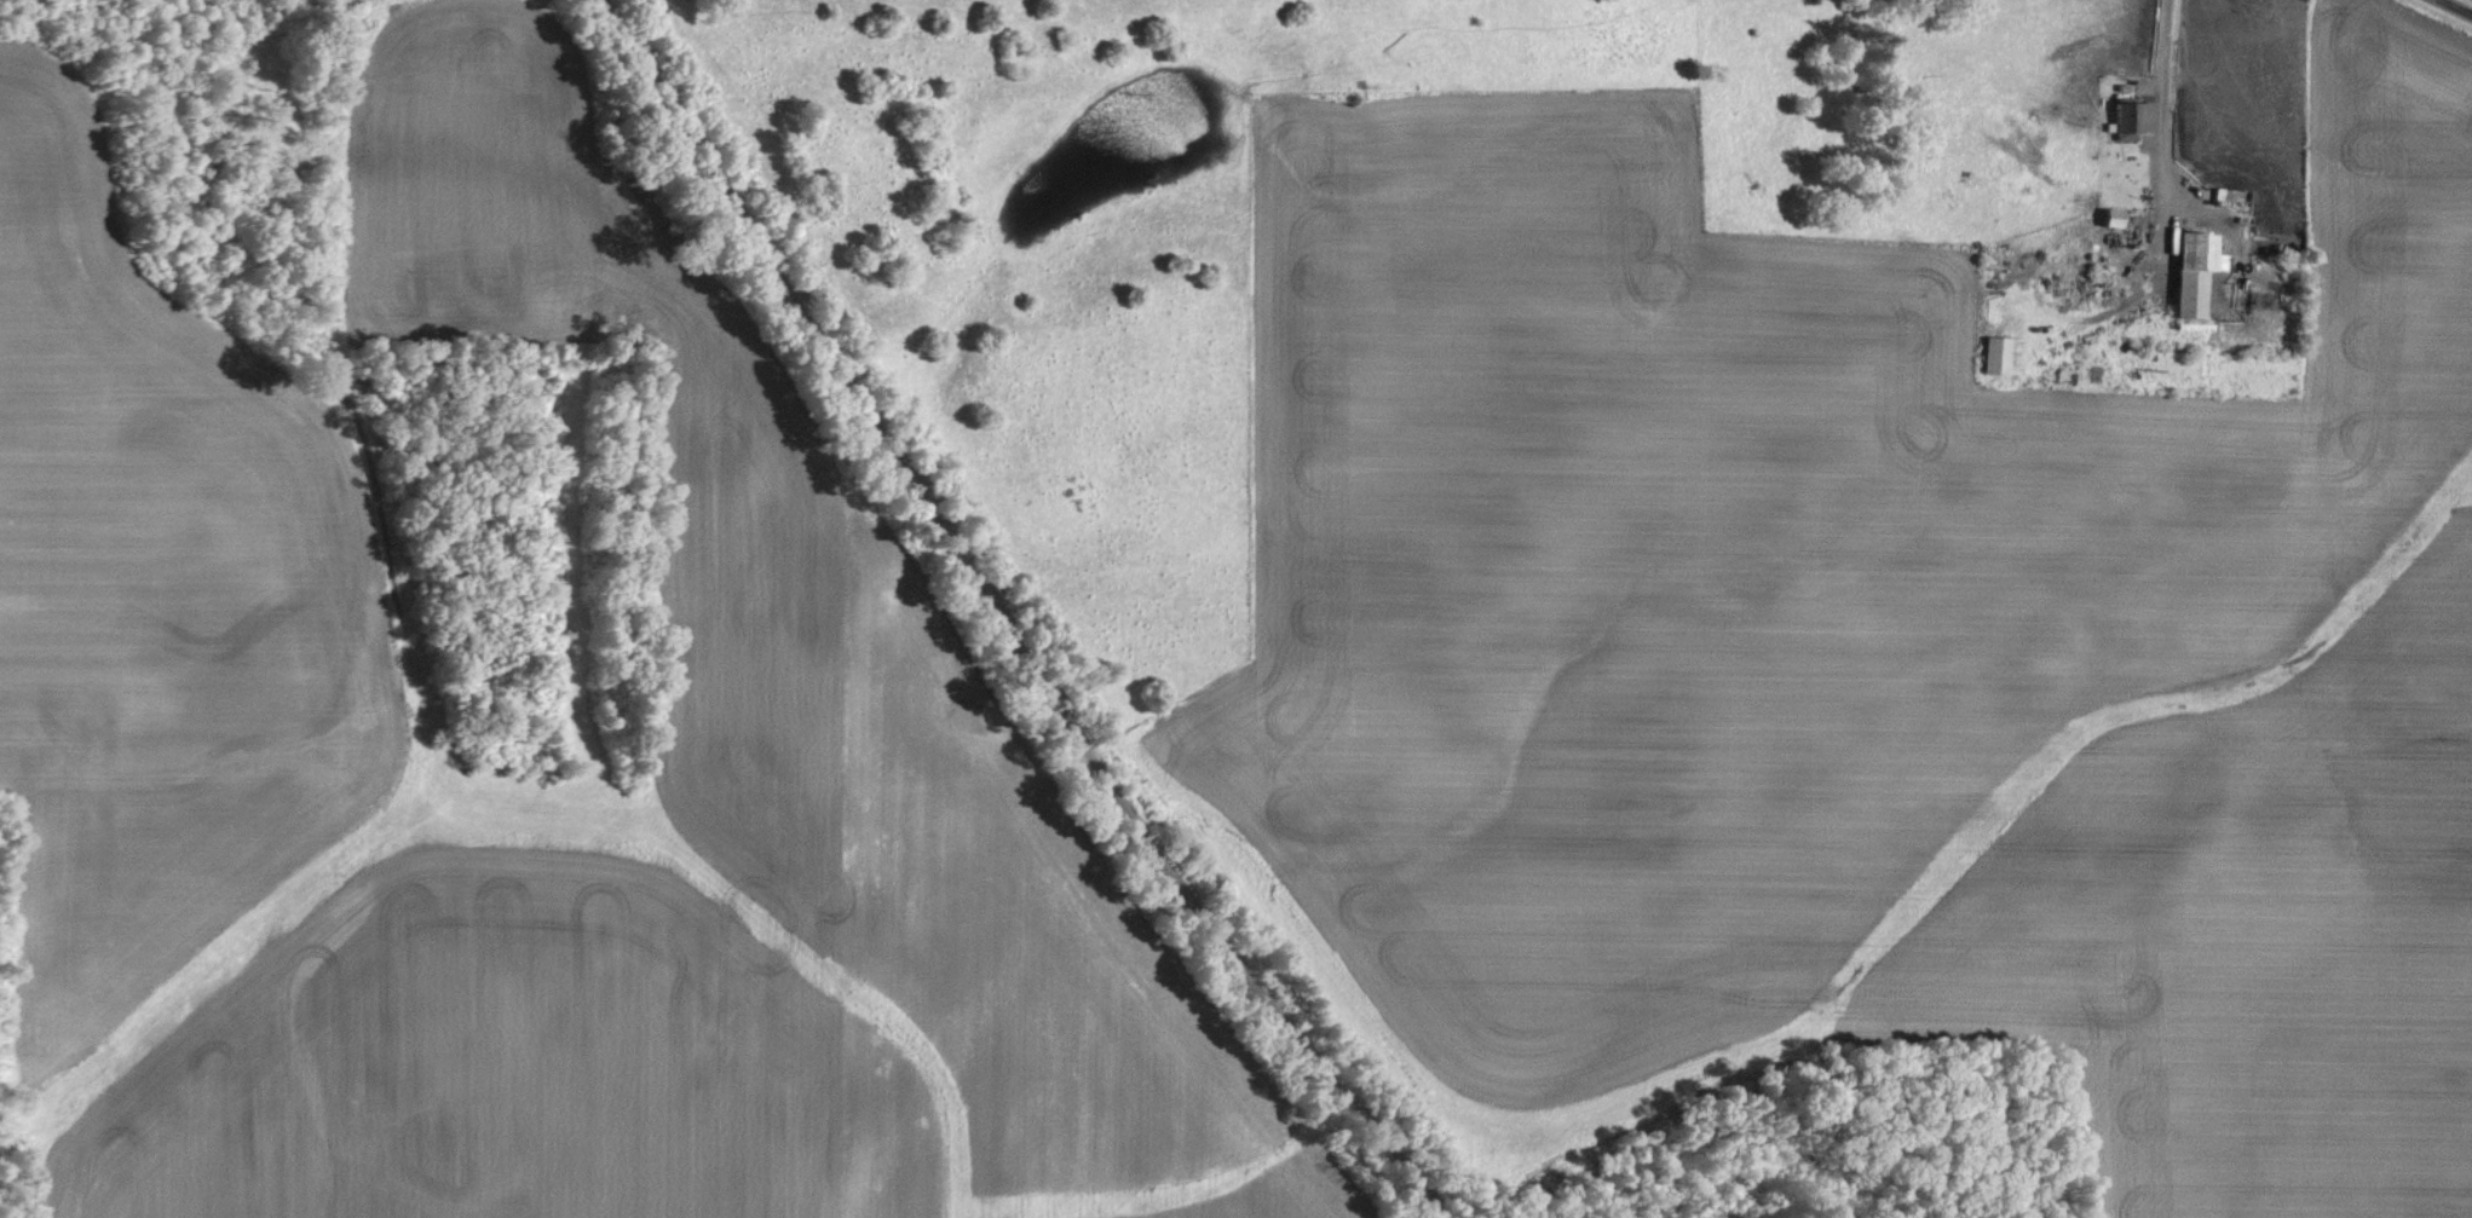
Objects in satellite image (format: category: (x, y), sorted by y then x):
road: (2460, 5)
building: (2124, 114)
building: (2236, 195)
road: (2155, 201)
building: (2104, 213)
building: (2117, 218)
building: (2184, 269)
building: (1995, 351)
road: (999, 622)

